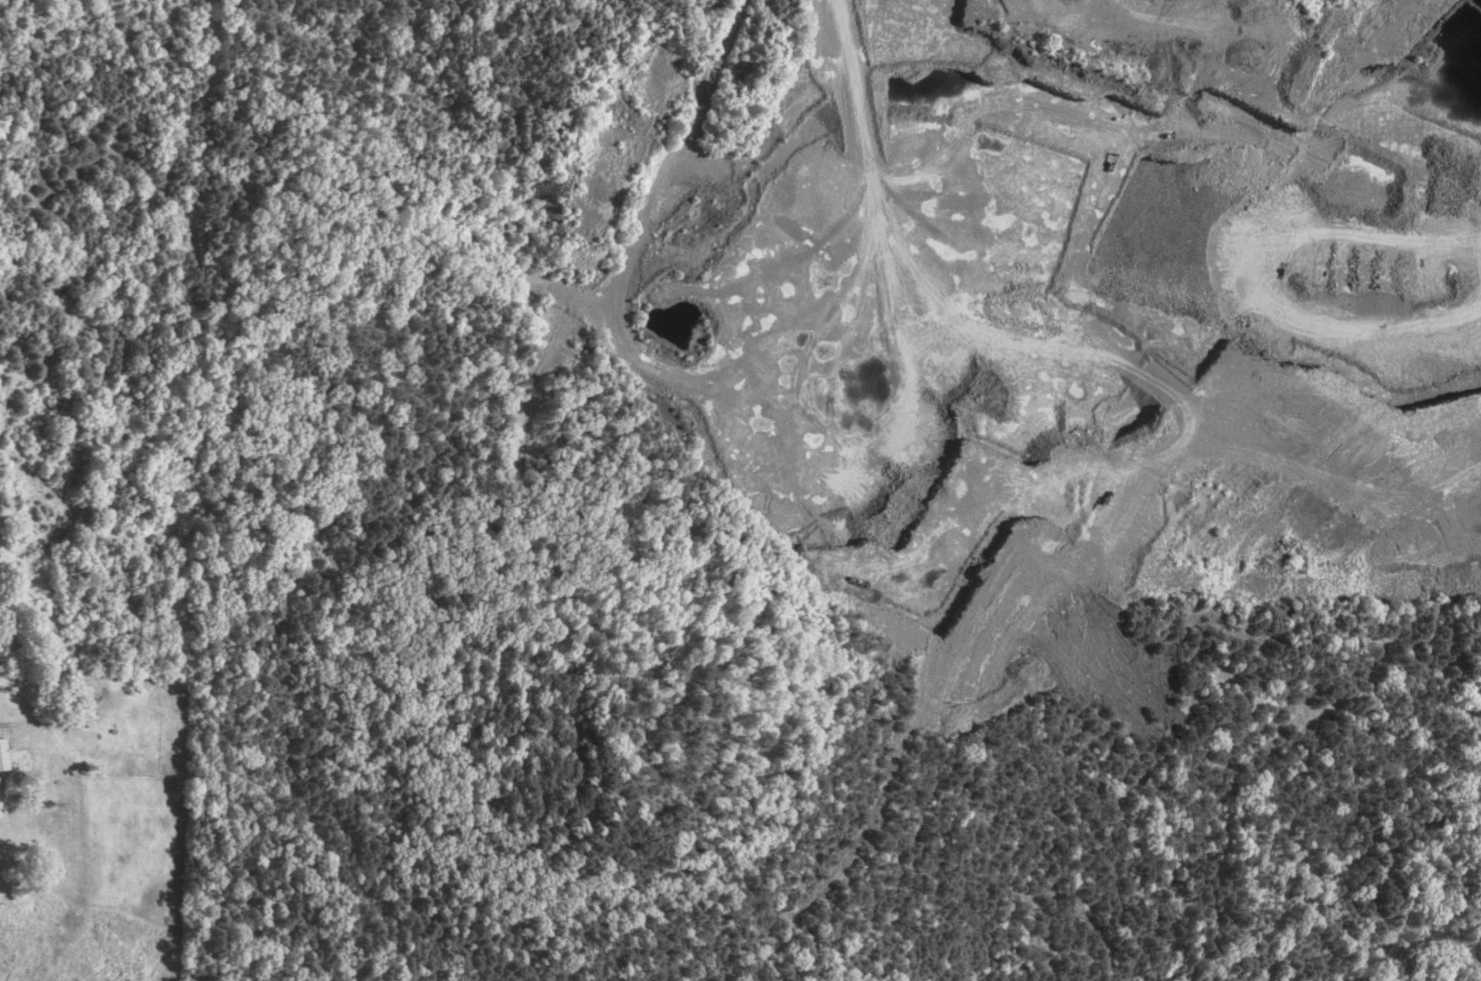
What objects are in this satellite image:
road: (858, 70)
road: (641, 222)
quarry: (1048, 293)
building: (3, 755)

